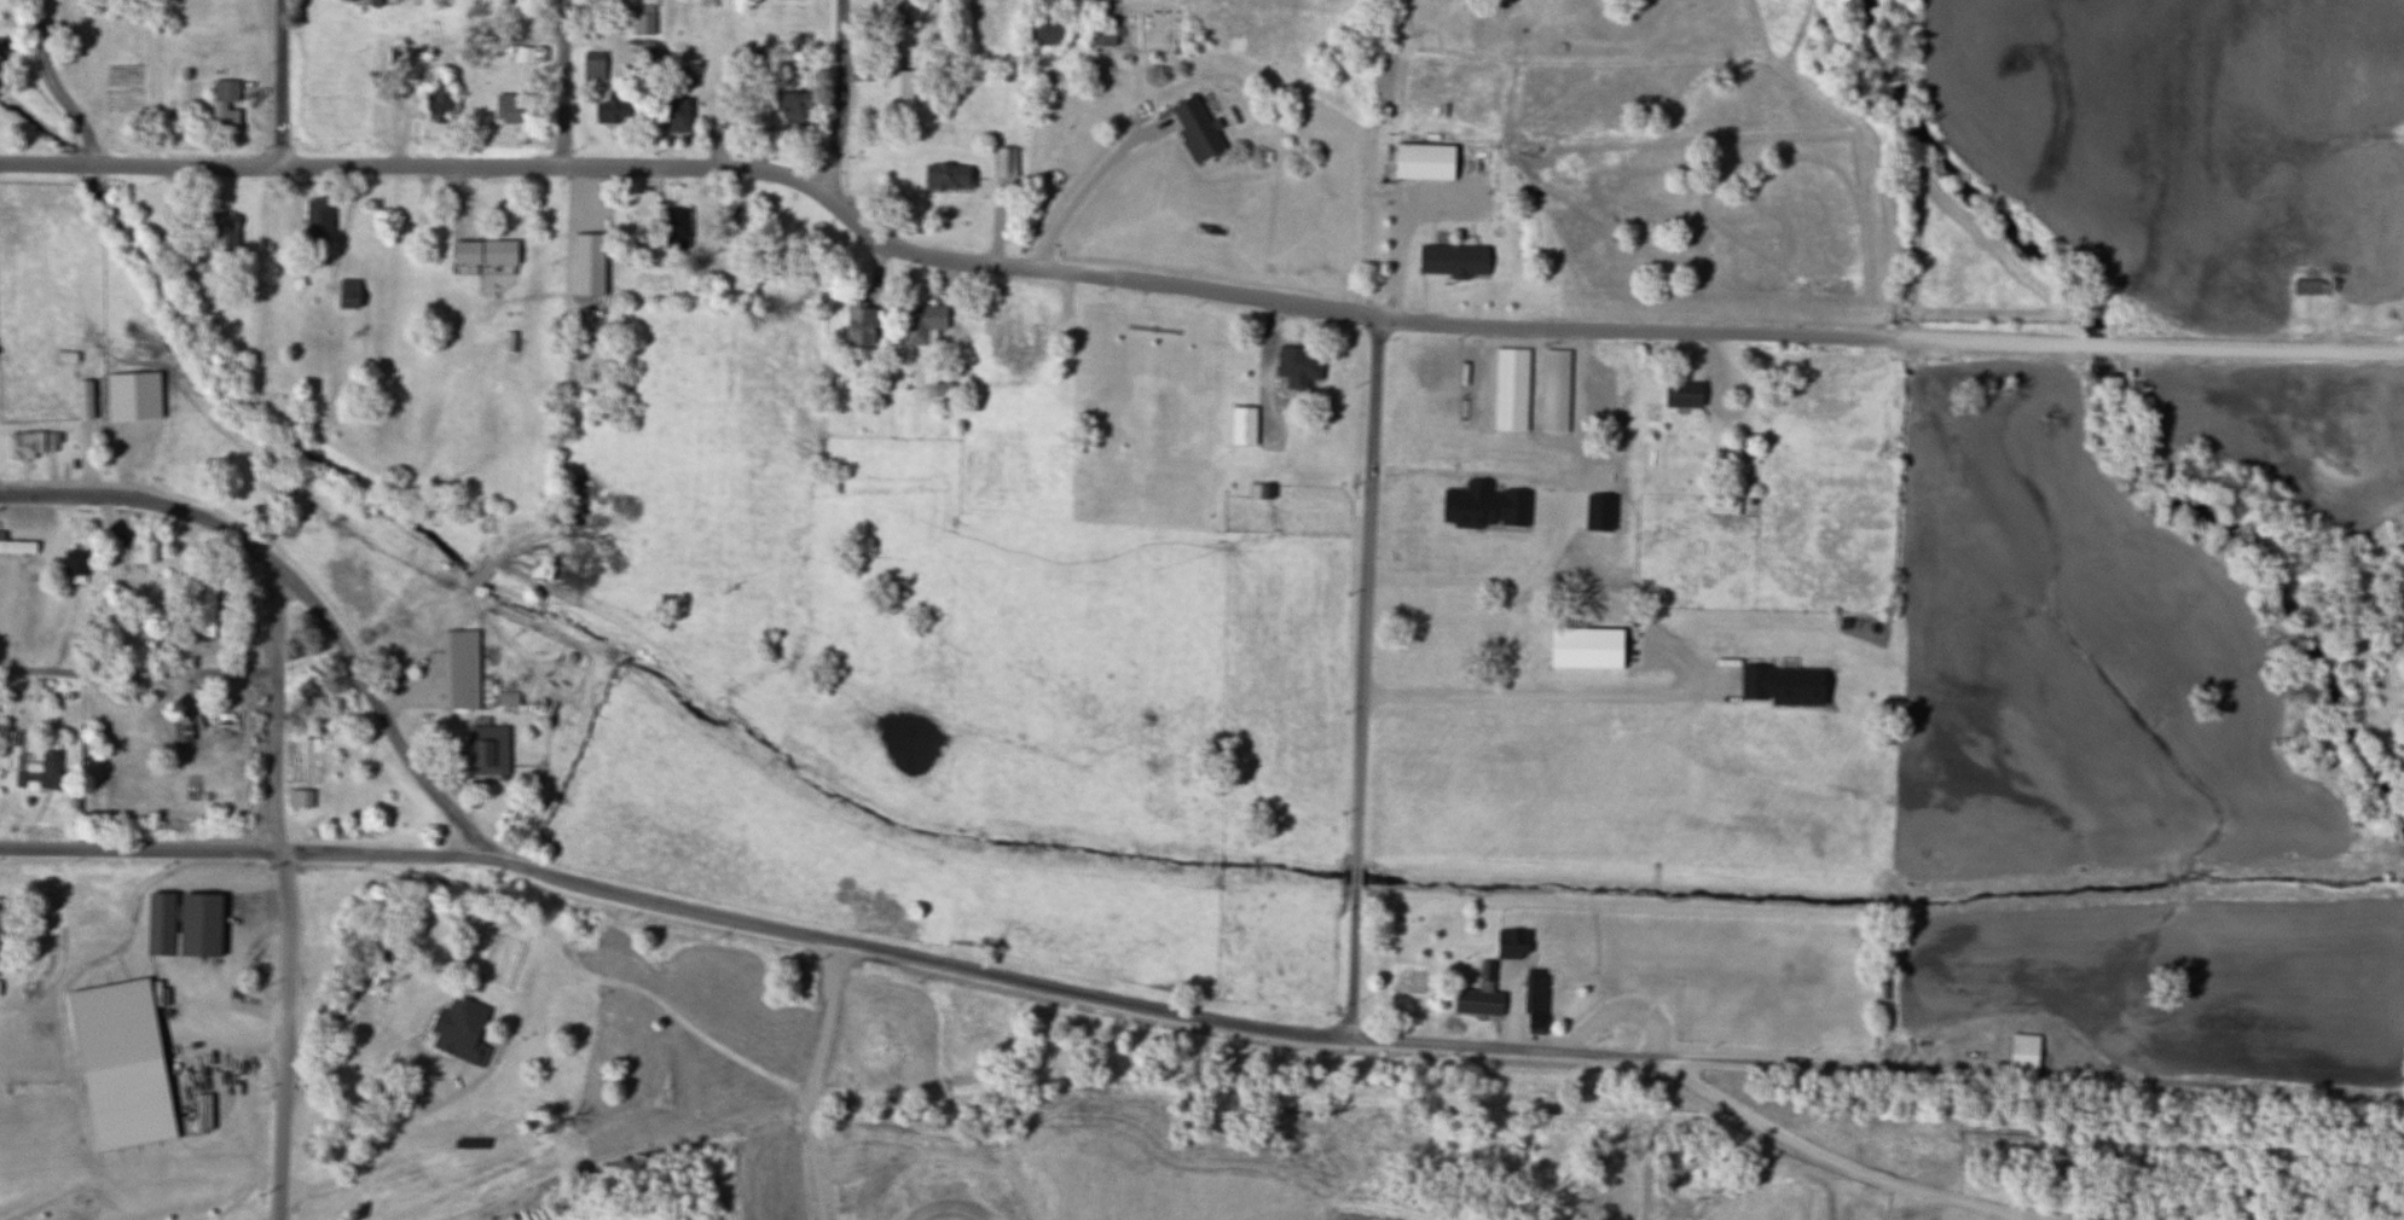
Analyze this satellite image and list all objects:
building: (358, 0)
building: (502, 2)
building: (0, 10)
building: (905, 13)
building: (643, 22)
building: (1042, 33)
building: (1101, 35)
building: (0, 54)
building: (402, 57)
building: (592, 68)
road: (283, 81)
road: (566, 82)
road: (54, 87)
building: (897, 93)
road: (839, 97)
building: (436, 103)
building: (224, 108)
building: (506, 109)
building: (793, 109)
building: (612, 111)
building: (674, 115)
building: (757, 118)
building: (1194, 128)
building: (1004, 162)
building: (1423, 163)
building: (946, 178)
road: (1090, 182)
building: (595, 216)
building: (315, 221)
building: (674, 230)
building: (219, 232)
road: (910, 251)
building: (481, 254)
building: (1452, 260)
building: (2306, 286)
building: (347, 294)
building: (858, 323)
building: (921, 323)
building: (1020, 331)
road: (2120, 345)
building: (1297, 365)
building: (1452, 393)
building: (1681, 394)
building: (1612, 399)
building: (82, 400)
building: (1044, 413)
building: (1242, 424)
building: (1514, 428)
building: (30, 443)
building: (1722, 505)
building: (16, 546)
building: (143, 551)
building: (74, 565)
road: (300, 587)
building: (208, 609)
building: (1444, 635)
building: (459, 669)
road: (137, 674)
building: (1394, 675)
road: (1361, 679)
building: (1780, 684)
building: (506, 698)
road: (274, 710)
building: (189, 725)
building: (226, 727)
building: (485, 750)
building: (36, 769)
building: (184, 784)
building: (297, 798)
road: (139, 852)
road: (380, 854)
building: (1, 914)
building: (181, 923)
building: (1511, 942)
building: (160, 994)
building: (1479, 994)
building: (1535, 1001)
road: (1232, 1024)
building: (459, 1030)
road: (285, 1035)
building: (2023, 1055)
road: (815, 1080)
road: (427, 1092)
building: (202, 1114)

